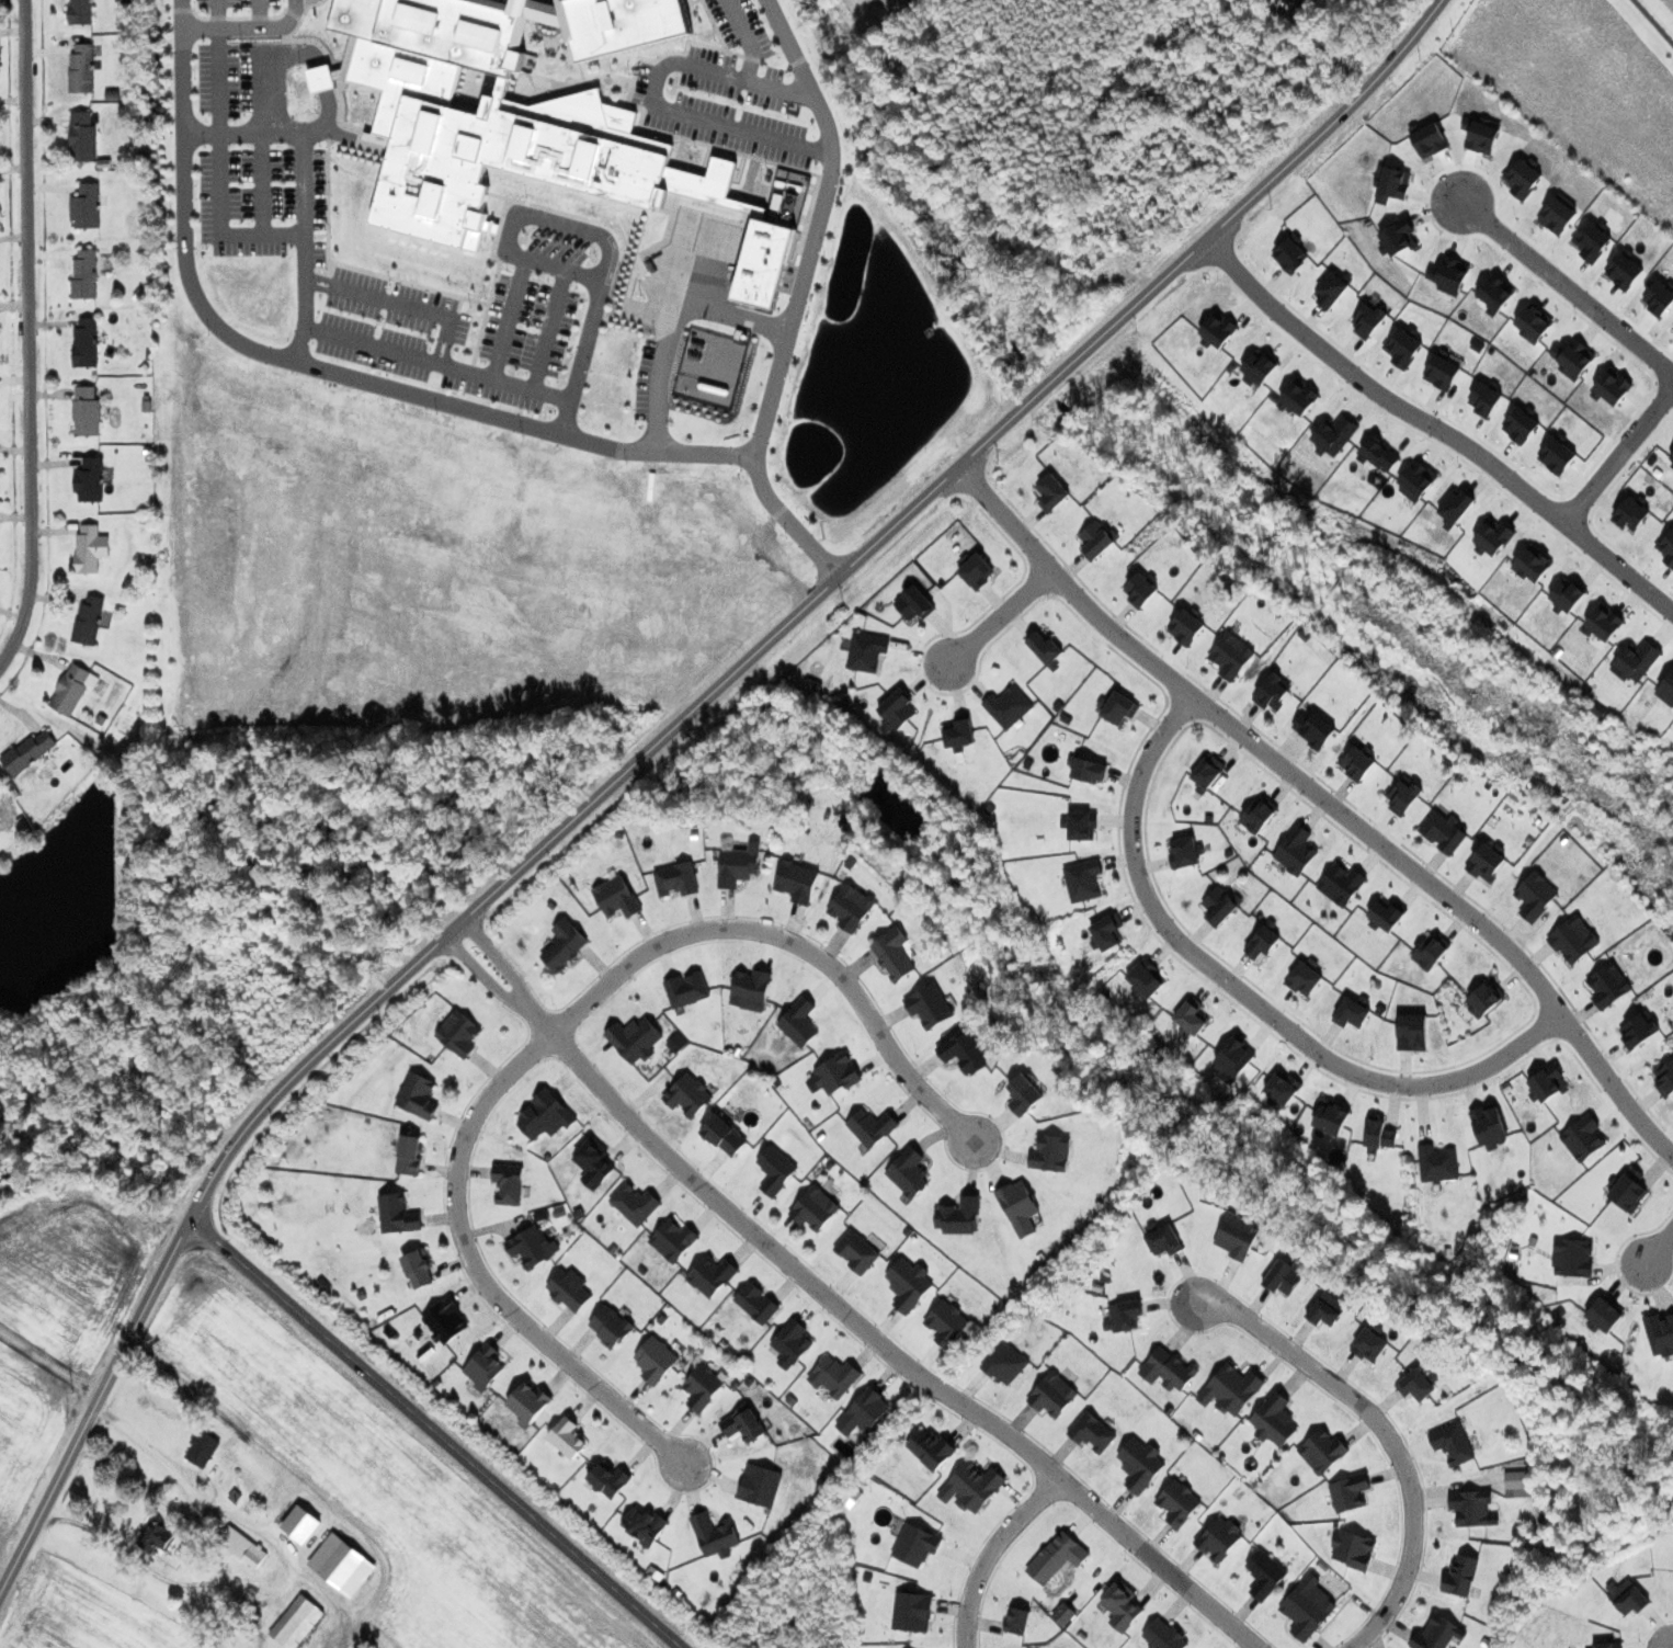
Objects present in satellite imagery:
parking lot: (235, 8)
building: (80, 11)
road: (218, 13)
road: (260, 14)
road: (1652, 22)
parking lot: (740, 25)
building: (630, 26)
road: (248, 29)
road: (742, 36)
building: (81, 69)
parking lot: (223, 78)
building: (319, 78)
road: (217, 80)
road: (651, 100)
parking lot: (728, 104)
road: (326, 111)
road: (284, 133)
building: (509, 134)
building: (82, 137)
road: (261, 183)
building: (786, 197)
parking lot: (266, 201)
building: (86, 206)
road: (220, 224)
road: (509, 236)
building: (1290, 254)
building: (84, 274)
road: (1568, 286)
building: (1332, 288)
road: (798, 293)
road: (399, 305)
parking lot: (471, 317)
road: (508, 319)
building: (1370, 319)
road: (682, 325)
road: (24, 326)
building: (1218, 329)
road: (548, 330)
road: (589, 337)
building: (84, 344)
building: (1402, 349)
road: (435, 364)
building: (710, 365)
road: (321, 366)
building: (1260, 366)
building: (1442, 372)
parking lot: (646, 379)
building: (1299, 396)
building: (1486, 397)
building: (86, 411)
building: (1522, 424)
road: (1435, 425)
building: (1334, 434)
building: (1380, 453)
building: (1557, 454)
road: (1619, 454)
building: (1418, 478)
building: (89, 479)
building: (1050, 493)
building: (1455, 505)
building: (1631, 513)
building: (1493, 535)
building: (1095, 539)
building: (1668, 547)
building: (89, 548)
building: (1533, 562)
building: (976, 570)
building: (1141, 588)
building: (1567, 594)
building: (913, 603)
road: (998, 616)
building: (88, 622)
building: (1604, 622)
building: (1186, 626)
building: (1044, 647)
building: (866, 651)
building: (1230, 656)
building: (1637, 659)
building: (72, 687)
building: (1272, 691)
building: (1008, 705)
building: (1118, 707)
building: (896, 709)
building: (1317, 730)
building: (959, 732)
road: (648, 745)
building: (27, 751)
building: (1357, 762)
building: (1089, 770)
building: (1207, 771)
building: (1403, 796)
road: (1327, 800)
building: (1259, 814)
building: (1081, 825)
building: (1443, 831)
building: (1295, 850)
building: (1185, 851)
building: (1486, 861)
building: (738, 865)
building: (675, 879)
building: (1082, 879)
building: (796, 880)
building: (1341, 883)
building: (1535, 895)
building: (616, 897)
building: (1219, 905)
building: (851, 907)
building: (1387, 913)
building: (1107, 931)
building: (1573, 939)
road: (788, 944)
building: (564, 945)
building: (1433, 952)
building: (892, 953)
building: (1306, 975)
building: (1146, 978)
building: (1607, 985)
building: (686, 989)
building: (750, 989)
road: (1252, 997)
building: (1486, 997)
building: (929, 1005)
building: (1353, 1010)
building: (1191, 1015)
building: (799, 1022)
building: (1640, 1028)
building: (1411, 1032)
building: (458, 1033)
building: (634, 1038)
building: (963, 1052)
building: (1234, 1057)
building: (833, 1075)
building: (1547, 1083)
building: (1282, 1087)
building: (688, 1094)
building: (1023, 1094)
building: (418, 1095)
building: (544, 1114)
building: (1330, 1116)
building: (870, 1126)
building: (1489, 1126)
building: (724, 1135)
building: (1378, 1135)
building: (1582, 1138)
building: (1050, 1152)
building: (408, 1156)
building: (593, 1162)
building: (1437, 1162)
building: (775, 1170)
building: (908, 1172)
building: (508, 1183)
building: (1628, 1190)
building: (634, 1203)
building: (1018, 1207)
building: (815, 1208)
building: (397, 1214)
building: (959, 1216)
building: (1237, 1236)
building: (672, 1239)
building: (1163, 1240)
building: (532, 1247)
building: (856, 1251)
road: (1660, 1251)
building: (1572, 1257)
building: (417, 1268)
road: (479, 1272)
building: (710, 1274)
building: (1283, 1277)
building: (908, 1284)
building: (568, 1289)
building: (755, 1302)
road: (835, 1305)
building: (1325, 1309)
building: (1604, 1314)
building: (1123, 1316)
building: (445, 1321)
building: (946, 1322)
building: (610, 1326)
building: (1660, 1333)
building: (790, 1343)
building: (1369, 1344)
building: (655, 1360)
road: (49, 1363)
building: (1004, 1363)
building: (483, 1366)
building: (1168, 1369)
building: (833, 1376)
building: (1418, 1383)
building: (702, 1387)
building: (1231, 1389)
building: (1052, 1395)
building: (528, 1402)
building: (863, 1412)
building: (1274, 1419)
building: (743, 1424)
building: (1091, 1432)
road: (434, 1434)
road: (1388, 1436)
building: (567, 1437)
building: (1452, 1443)
building: (202, 1448)
building: (930, 1448)
building: (1322, 1451)
building: (1139, 1464)
building: (608, 1479)
building: (1518, 1484)
building: (759, 1485)
building: (971, 1486)
road: (316, 1490)
building: (1348, 1491)
building: (1177, 1502)
building: (1472, 1508)
building: (300, 1524)
building: (641, 1525)
building: (714, 1535)
building: (160, 1538)
building: (1218, 1538)
road: (275, 1541)
building: (915, 1544)
building: (242, 1546)
building: (1352, 1549)
road: (991, 1554)
road: (133, 1557)
building: (1057, 1557)
building: (341, 1564)
building: (1264, 1573)
building: (1459, 1576)
building: (1626, 1595)
building: (1122, 1605)
building: (1307, 1607)
building: (912, 1611)
building: (1063, 1613)
building: (1017, 1621)
building: (296, 1622)
building: (1437, 1634)
building: (1163, 1635)
building: (1607, 1645)

